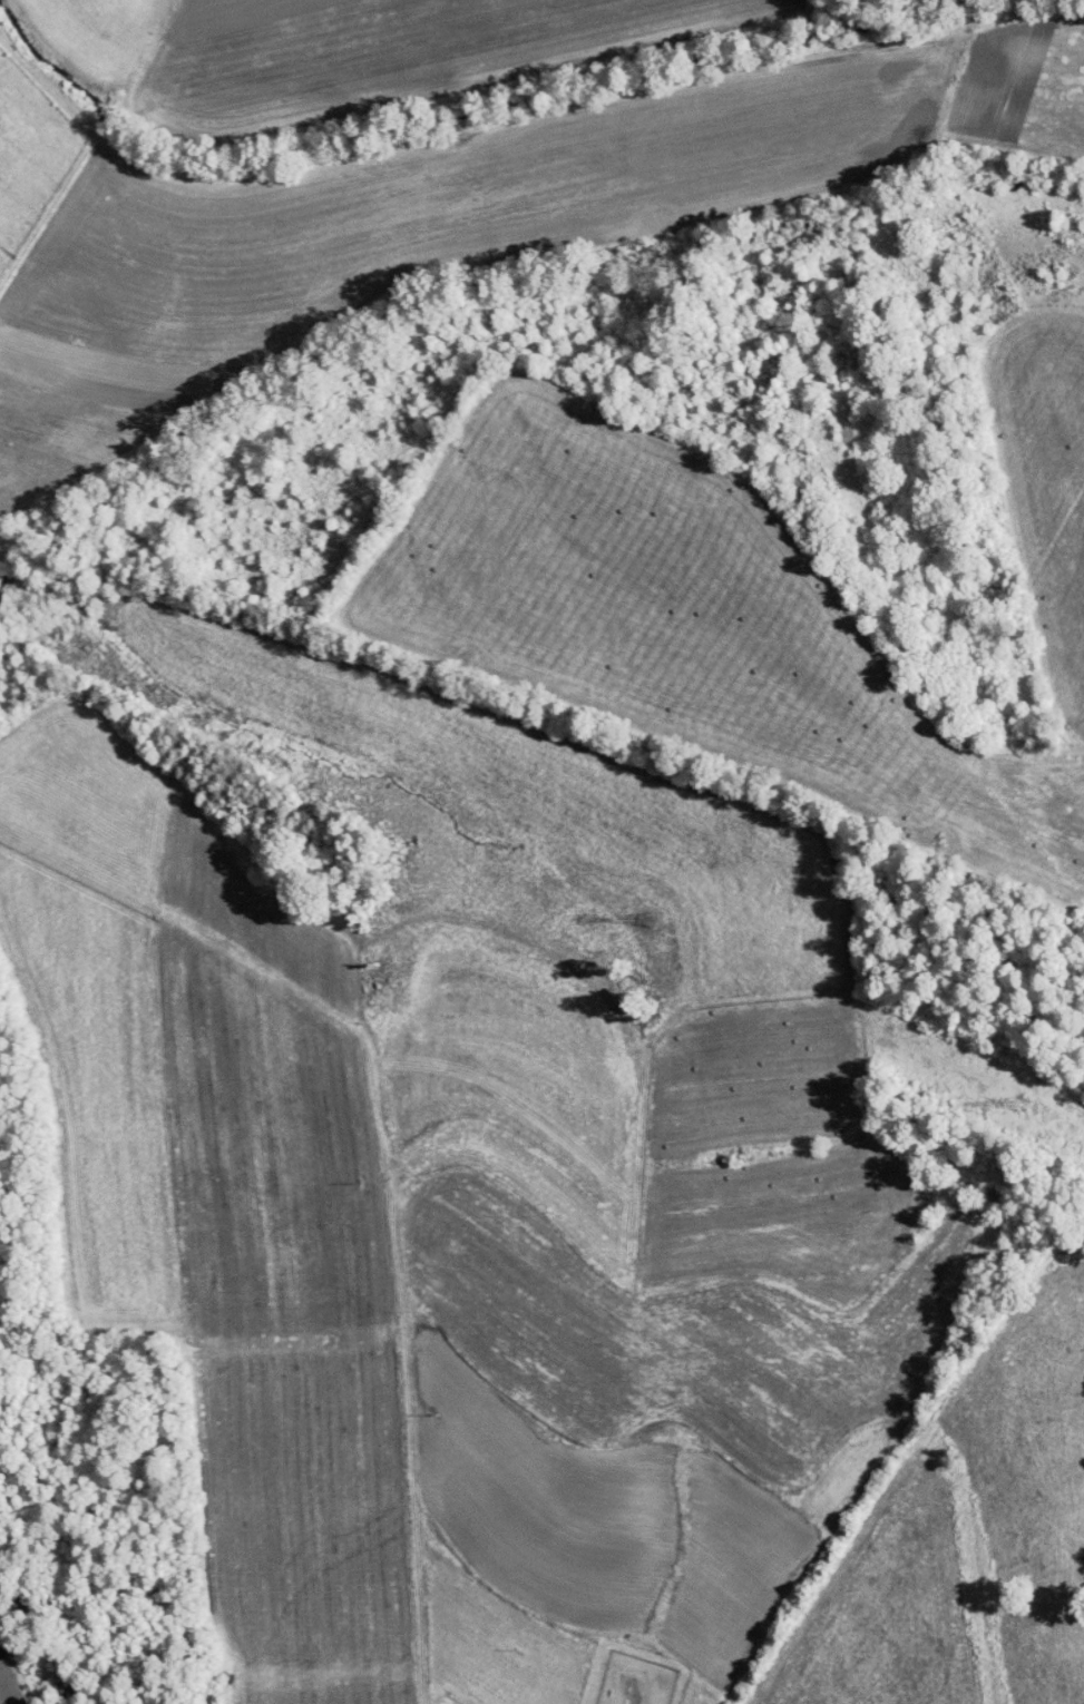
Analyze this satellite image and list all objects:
power tower: (228, 713)
power tower: (644, 921)
power tower: (1023, 1104)

